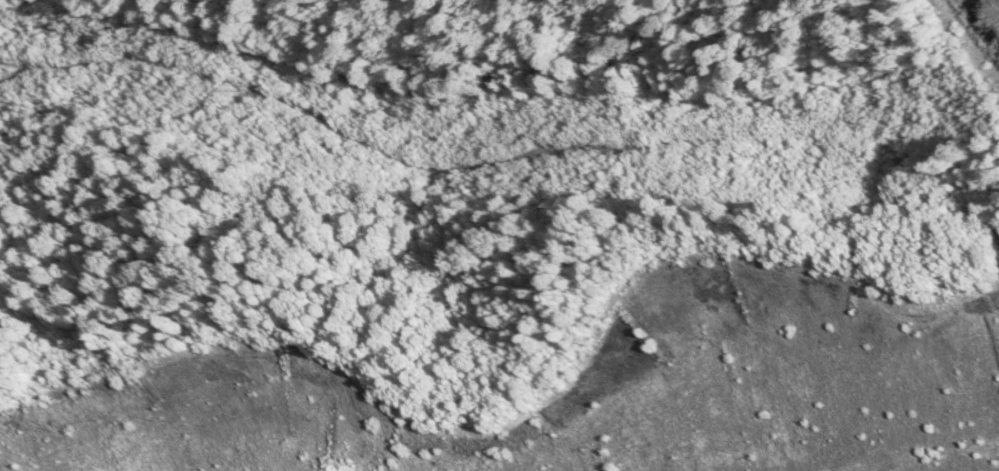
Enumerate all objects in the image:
quarry: (566, 353)

